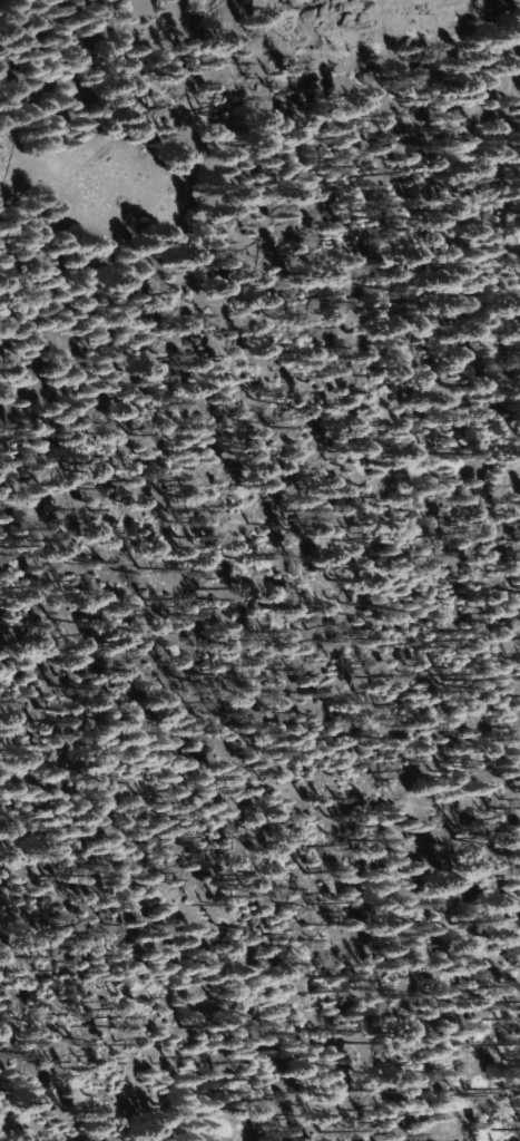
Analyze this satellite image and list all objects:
road: (27, 773)

